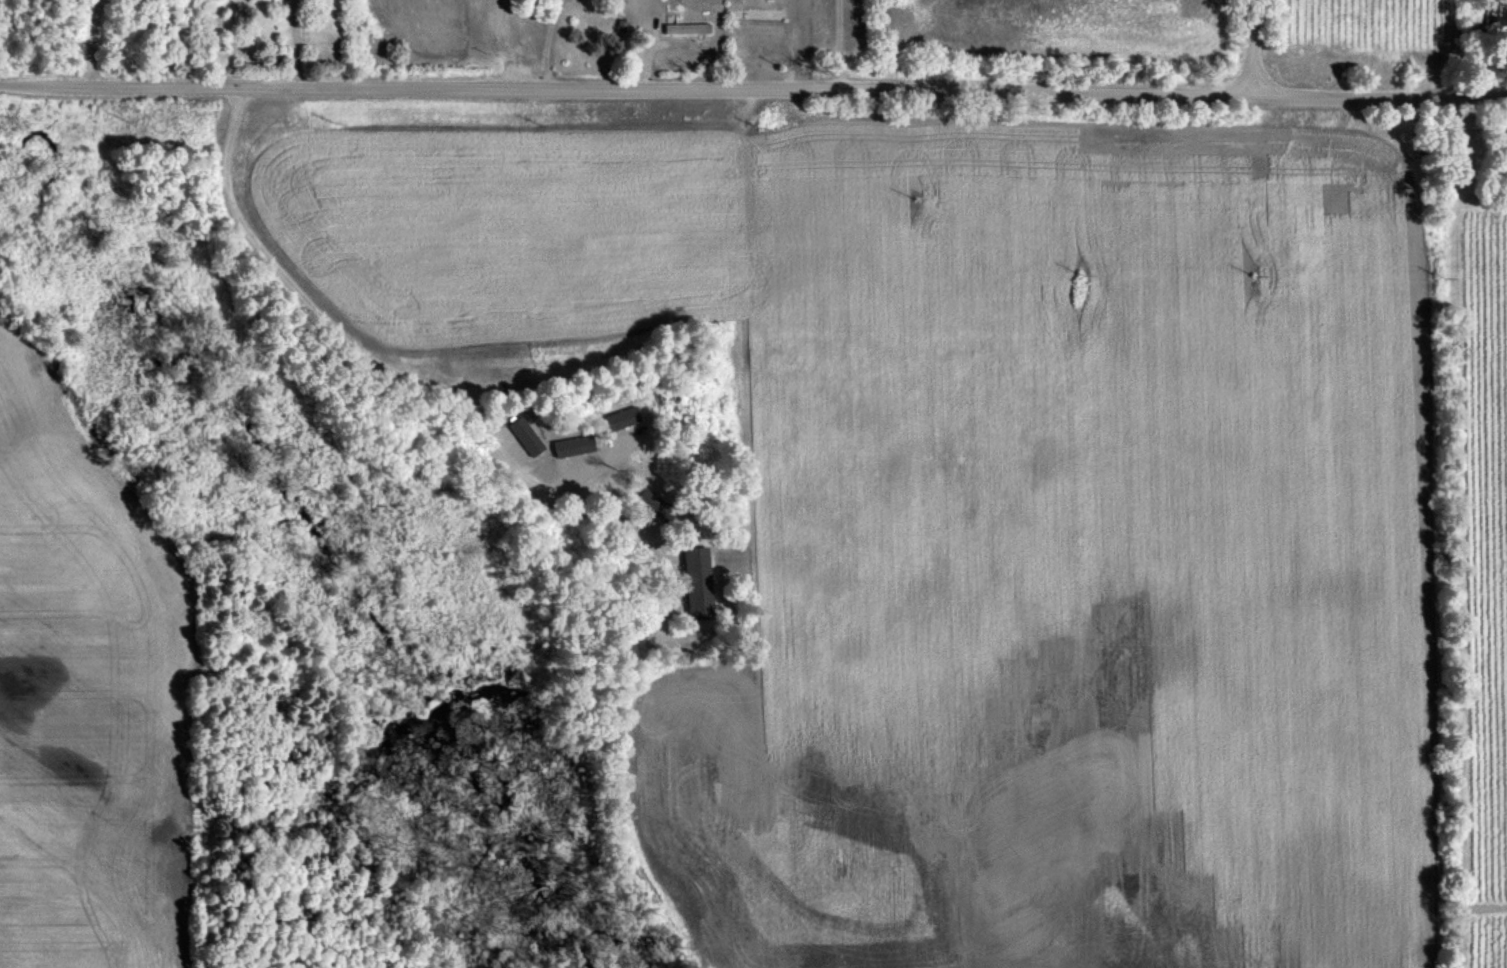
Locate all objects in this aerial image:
building: (684, 28)
road: (1255, 44)
road: (753, 85)
road: (284, 272)
building: (618, 418)
building: (524, 435)
building: (572, 445)
building: (649, 500)
building: (697, 582)

